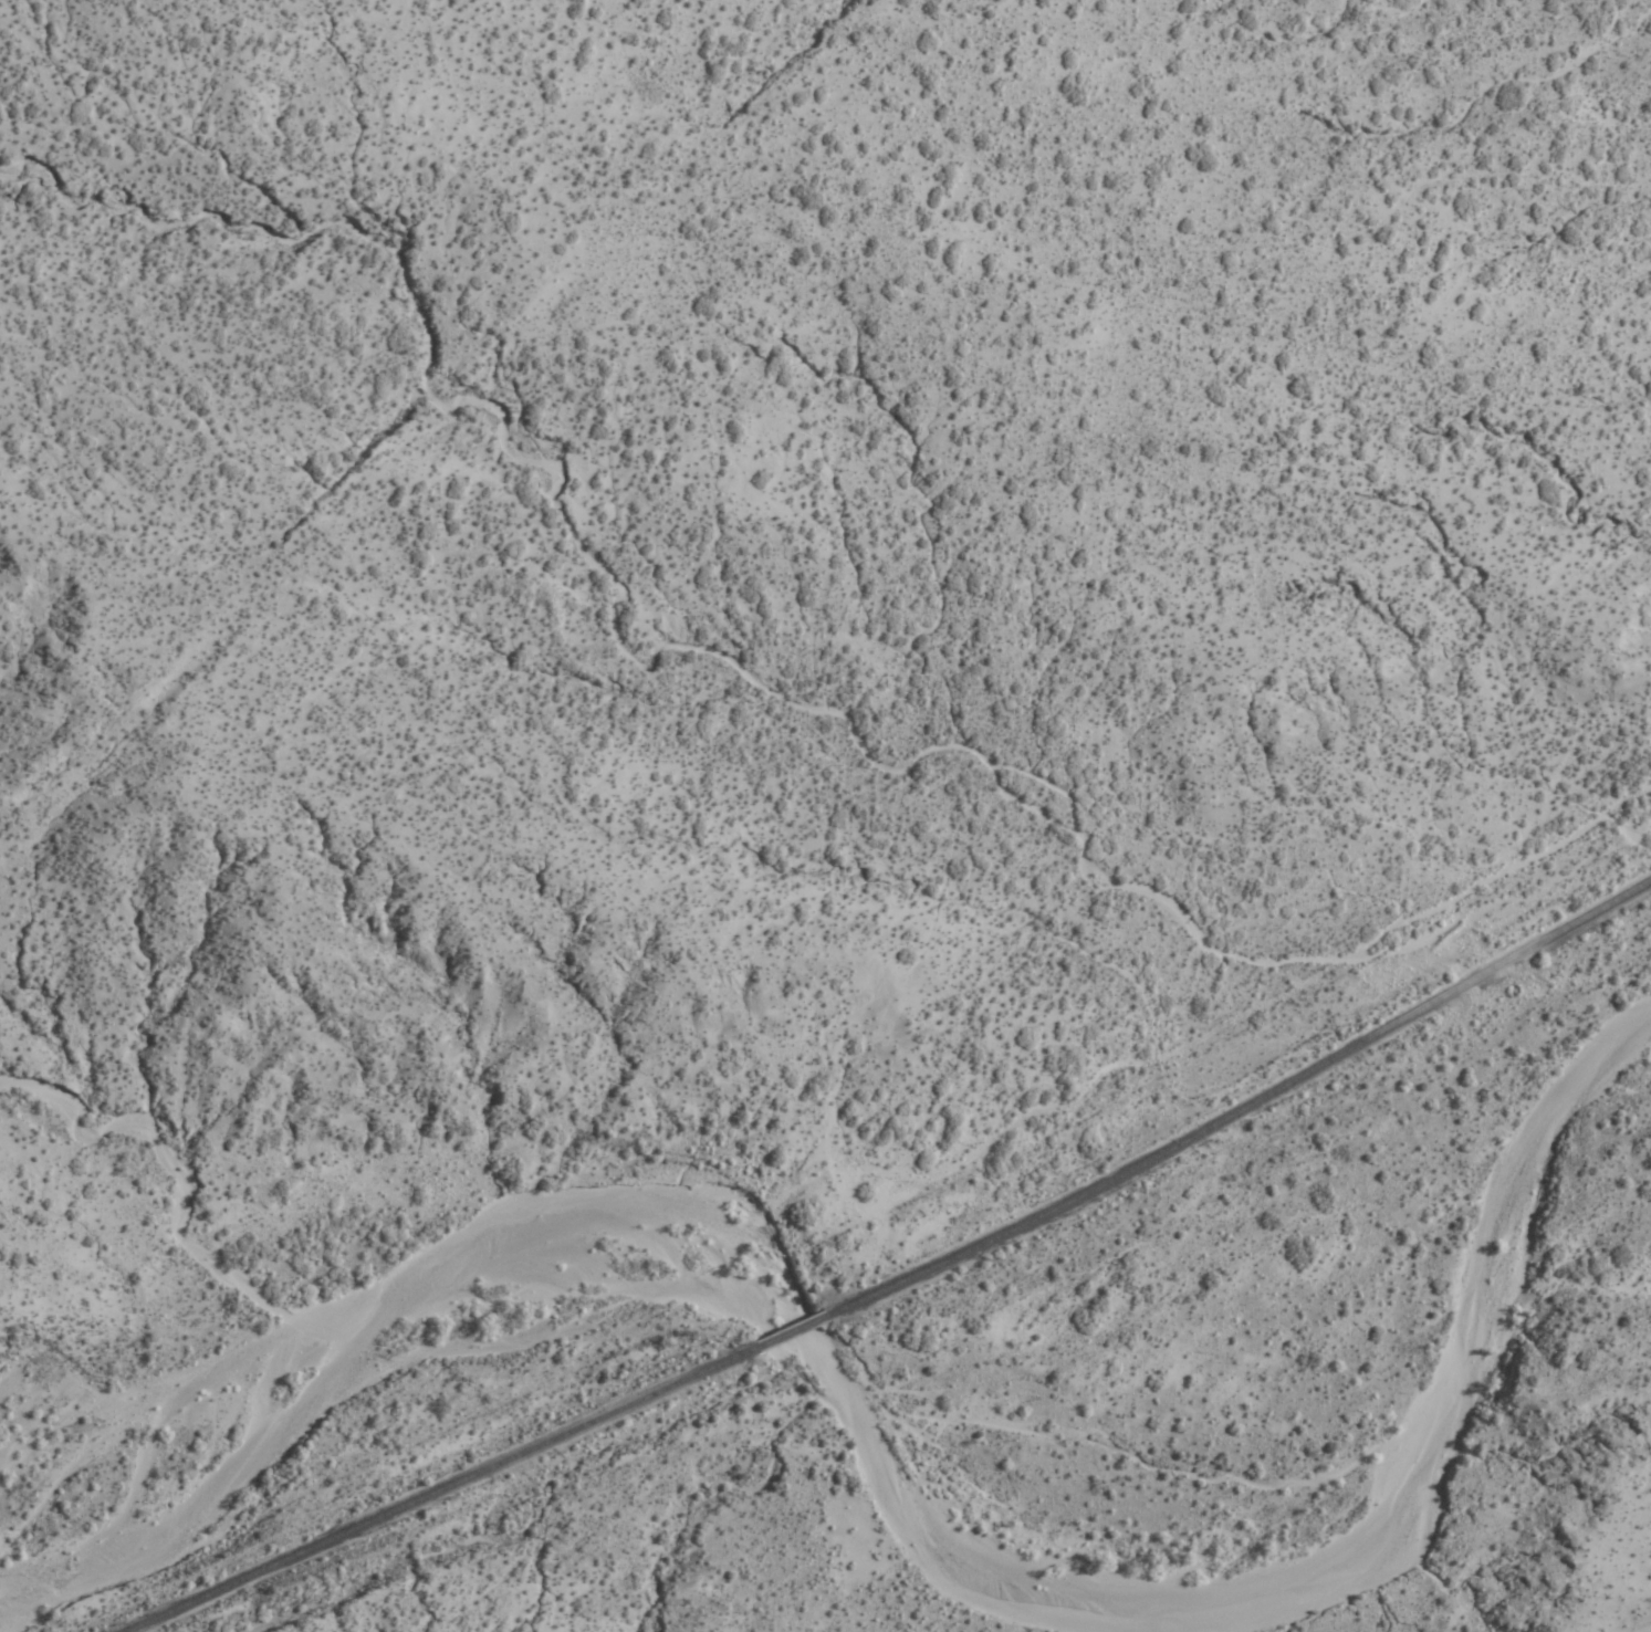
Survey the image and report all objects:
railway: (1246, 1102)
railway: (785, 1330)
river: (919, 1479)
railway: (429, 1492)

